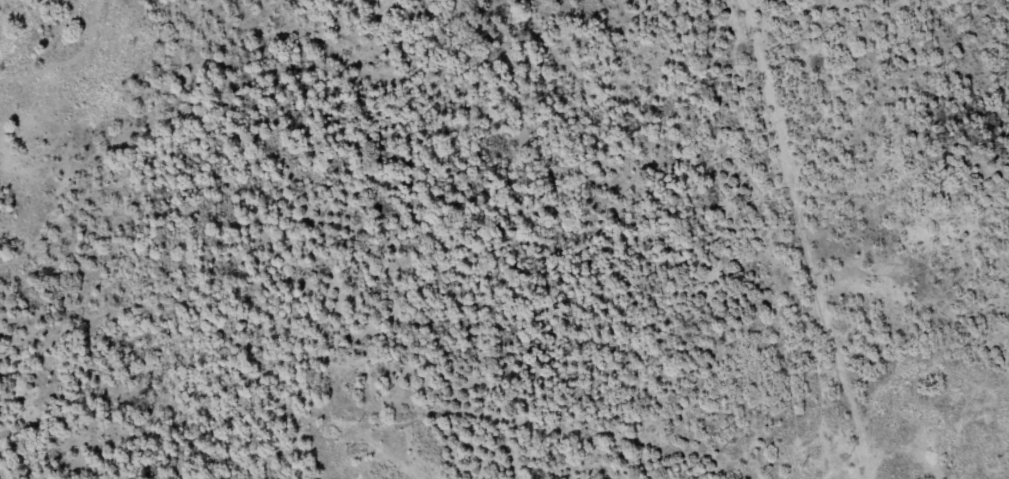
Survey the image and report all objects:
road: (843, 239)

